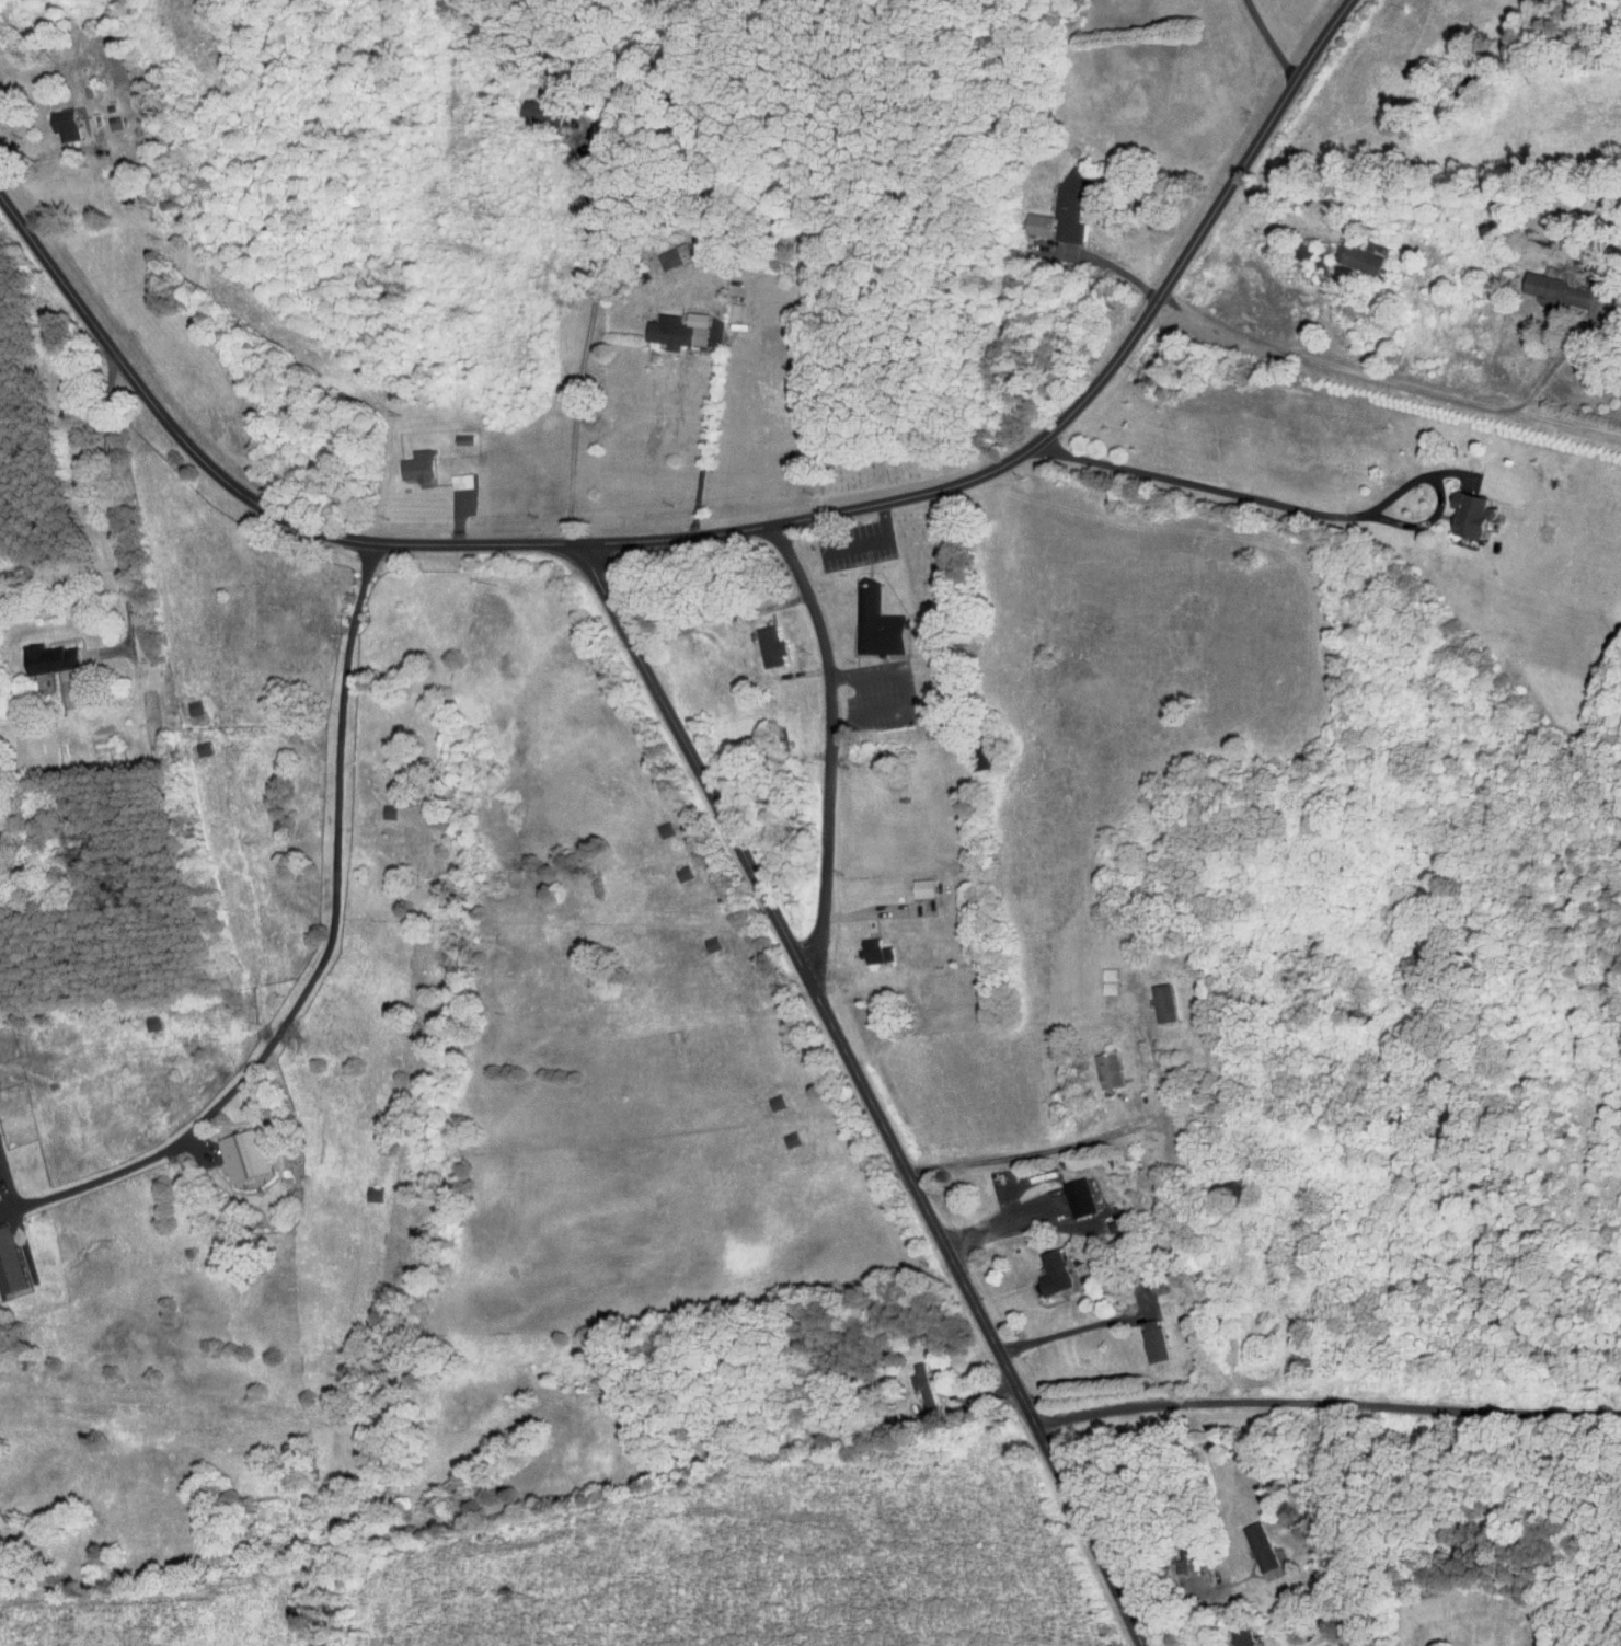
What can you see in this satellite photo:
road: (1274, 41)
building: (536, 110)
building: (64, 123)
road: (44, 152)
building: (1070, 205)
road: (1303, 214)
building: (1038, 225)
building: (1373, 248)
building: (1302, 251)
building: (674, 256)
building: (1357, 258)
building: (1565, 292)
building: (734, 310)
road: (590, 326)
building: (677, 330)
road: (1335, 366)
road: (982, 431)
road: (703, 436)
building: (462, 439)
building: (416, 467)
building: (460, 481)
road: (480, 486)
road: (1294, 505)
building: (1470, 514)
road: (722, 532)
road: (120, 536)
road: (860, 543)
building: (875, 622)
building: (770, 646)
building: (49, 658)
building: (193, 707)
road: (807, 741)
road: (831, 749)
road: (862, 809)
building: (388, 812)
building: (664, 829)
building: (681, 872)
building: (921, 888)
road: (857, 900)
building: (711, 944)
building: (875, 951)
road: (853, 956)
road: (322, 962)
building: (1162, 1003)
building: (151, 1022)
road: (851, 1023)
building: (1107, 1070)
road: (866, 1091)
building: (774, 1102)
building: (790, 1139)
road: (1019, 1149)
building: (243, 1155)
road: (1007, 1164)
road: (8, 1178)
building: (1226, 1185)
building: (372, 1194)
building: (1082, 1196)
road: (989, 1242)
building: (10, 1264)
building: (1053, 1273)
road: (1069, 1331)
building: (1152, 1342)
road: (958, 1367)
building: (922, 1385)
road: (1327, 1404)
building: (1, 1520)
building: (1262, 1550)
road: (1215, 1587)
road: (1192, 1600)
building: (1242, 1637)

